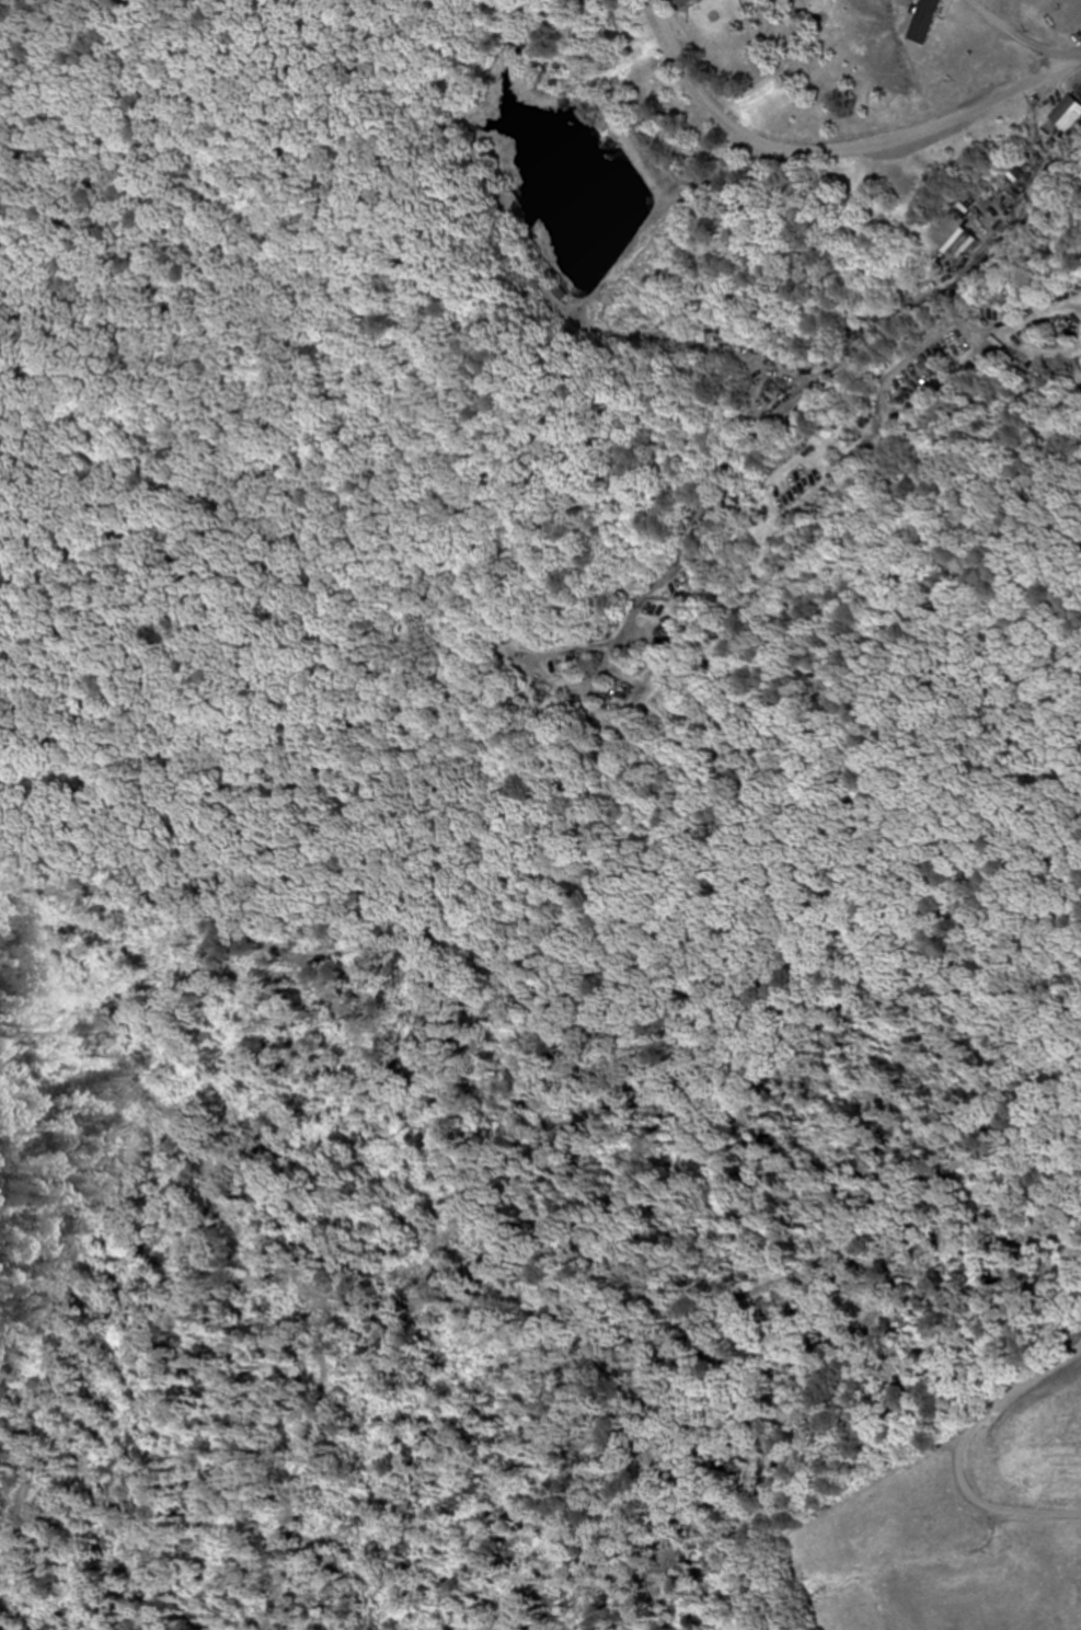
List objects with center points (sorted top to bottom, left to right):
building: (694, 3)
building: (928, 22)
road: (1045, 48)
building: (1069, 115)

